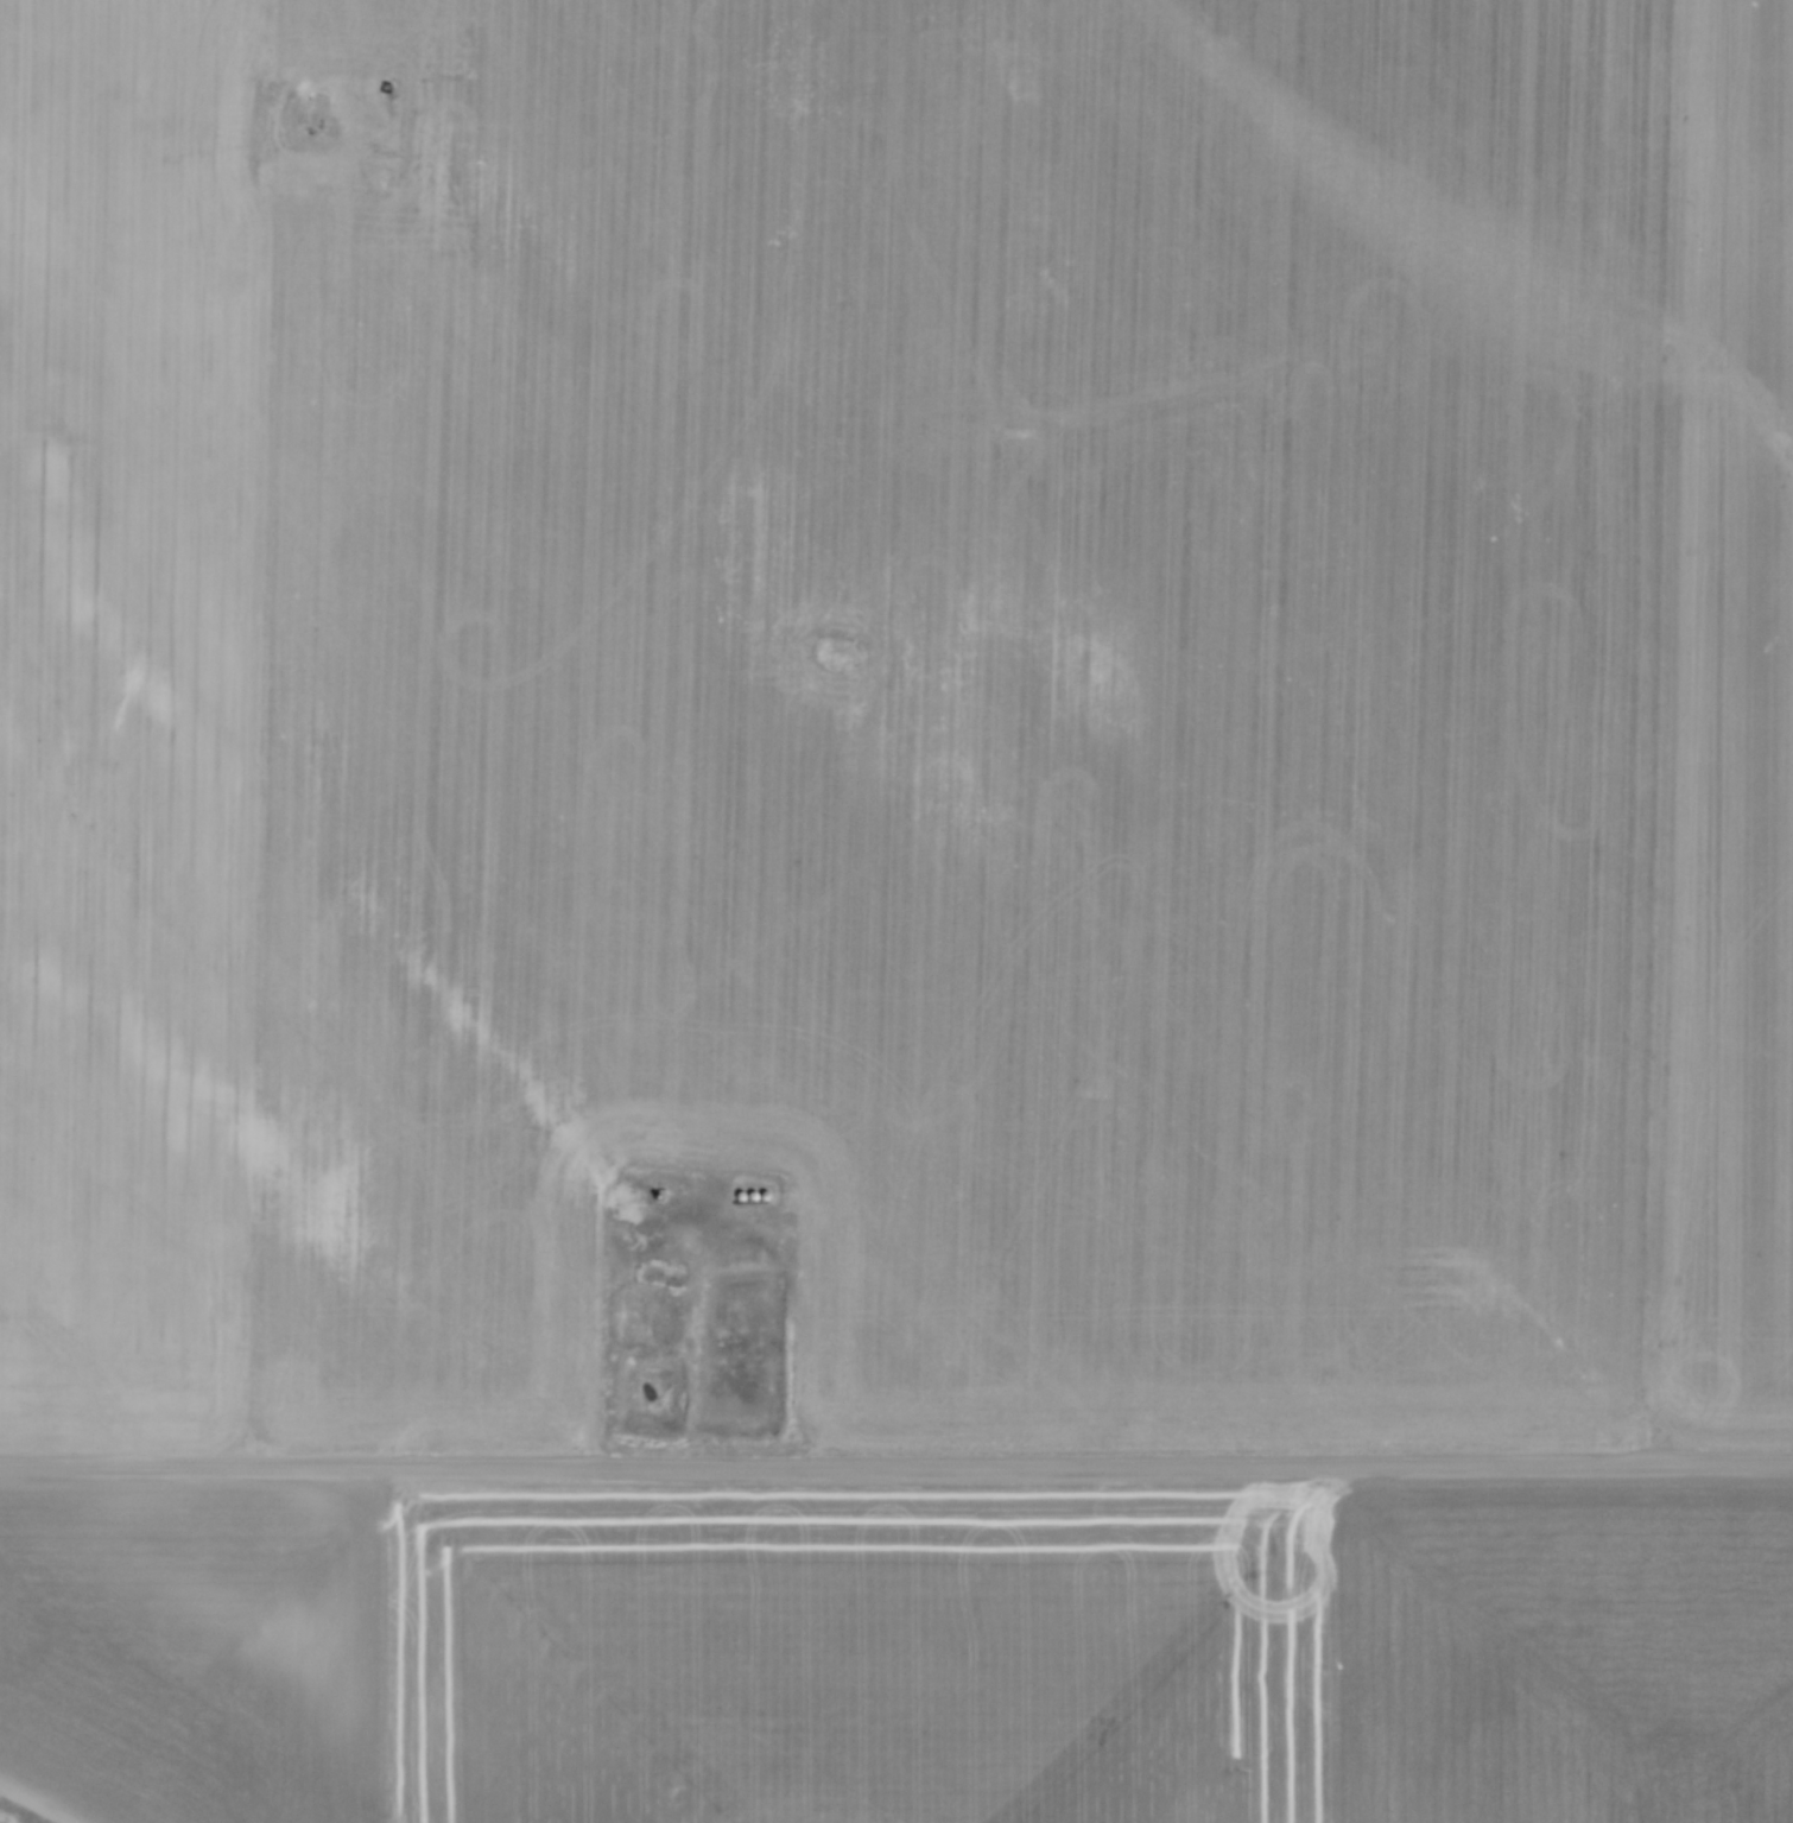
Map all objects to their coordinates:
crop: (900, 708)
road: (896, 1470)

